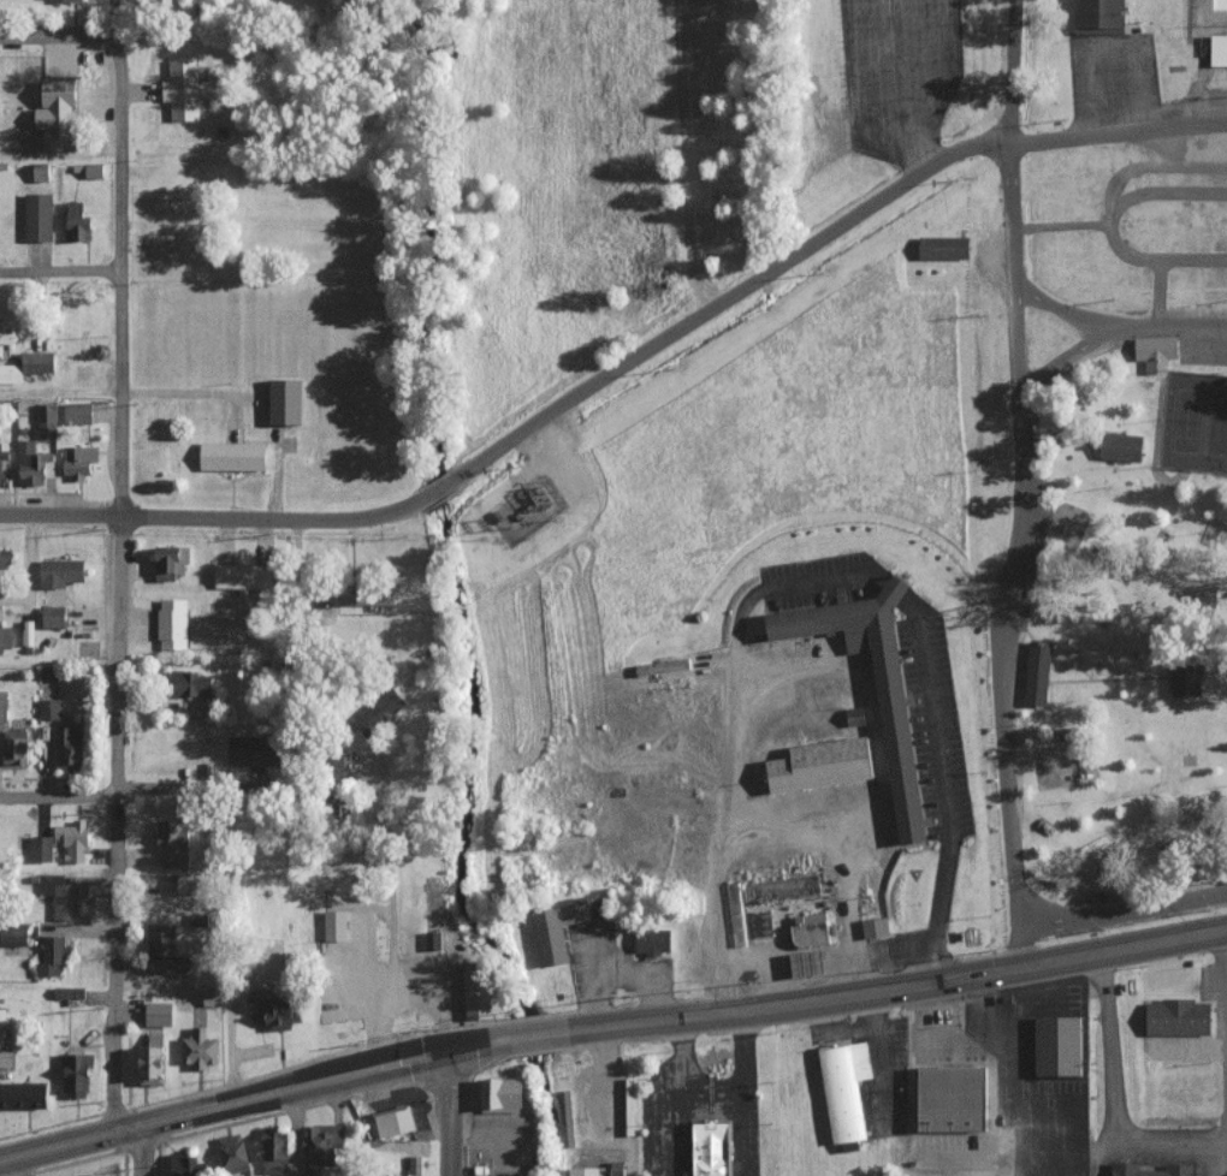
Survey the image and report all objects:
building: (76, 0)
building: (1096, 17)
road: (52, 40)
road: (1112, 46)
road: (1179, 49)
building: (1217, 51)
parking lot: (900, 67)
road: (1013, 72)
parking lot: (1113, 79)
road: (895, 87)
building: (183, 89)
road: (1191, 99)
parking lot: (1202, 103)
building: (61, 114)
road: (1116, 133)
parking lot: (1179, 147)
road: (1154, 168)
building: (40, 215)
building: (79, 222)
road: (1110, 226)
road: (1061, 227)
building: (941, 249)
road: (59, 269)
road: (1158, 293)
road: (725, 297)
road: (1060, 309)
road: (1113, 329)
building: (8, 333)
parking lot: (1202, 345)
building: (1154, 352)
building: (29, 366)
building: (289, 400)
building: (79, 412)
building: (48, 420)
park: (1186, 422)
park: (1217, 426)
road: (1071, 441)
building: (1120, 447)
building: (236, 456)
road: (1095, 458)
building: (81, 461)
building: (35, 463)
building: (1, 470)
road: (437, 489)
power substation: (530, 511)
road: (211, 517)
park: (1122, 533)
parking lot: (1035, 553)
building: (173, 560)
building: (6, 564)
building: (63, 571)
building: (245, 576)
parking lot: (810, 582)
road: (816, 583)
building: (1204, 595)
road: (115, 608)
building: (58, 617)
building: (173, 623)
road: (1003, 631)
road: (1072, 663)
building: (669, 665)
building: (48, 672)
building: (1035, 672)
building: (1182, 678)
road: (1109, 681)
building: (192, 683)
road: (1211, 685)
building: (871, 688)
road: (1049, 695)
building: (386, 706)
building: (51, 708)
building: (854, 717)
parking lot: (931, 720)
building: (1075, 735)
building: (14, 746)
building: (72, 747)
building: (256, 749)
building: (820, 765)
parking lot: (333, 771)
parking lot: (362, 774)
road: (57, 795)
building: (1219, 827)
building: (75, 839)
building: (174, 843)
building: (42, 848)
road: (390, 877)
building: (192, 883)
building: (781, 889)
building: (64, 896)
building: (1091, 898)
building: (736, 915)
building: (340, 926)
building: (877, 927)
building: (552, 928)
building: (807, 929)
road: (1016, 931)
building: (19, 934)
building: (431, 942)
building: (650, 943)
building: (164, 950)
parking lot: (586, 955)
building: (54, 956)
building: (811, 963)
parking lot: (652, 968)
parking lot: (383, 976)
road: (403, 988)
building: (473, 991)
building: (71, 992)
building: (214, 997)
building: (280, 1010)
building: (160, 1014)
building: (1175, 1017)
parking lot: (1216, 1018)
road: (609, 1020)
parking lot: (829, 1035)
traffic signals: (446, 1039)
parking lot: (949, 1039)
building: (1055, 1046)
building: (202, 1049)
building: (5, 1052)
road: (1226, 1052)
building: (153, 1061)
parking lot: (900, 1062)
building: (78, 1074)
parking lot: (1050, 1080)
building: (843, 1089)
building: (25, 1094)
building: (497, 1095)
road: (1112, 1097)
building: (952, 1099)
road: (445, 1107)
parking lot: (377, 1111)
parking lot: (678, 1122)
building: (391, 1124)
parking lot: (510, 1140)
parking lot: (958, 1141)
building: (324, 1147)
building: (707, 1148)
building: (277, 1150)
parking lot: (598, 1151)
building: (235, 1152)
road: (17, 1164)
building: (185, 1164)
building: (1176, 1169)
building: (599, 1171)

